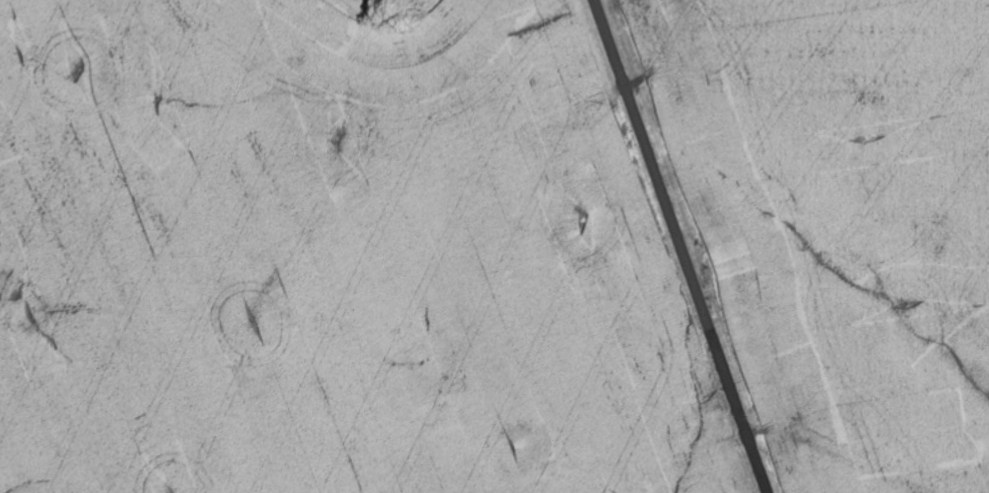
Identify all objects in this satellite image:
road: (681, 246)

